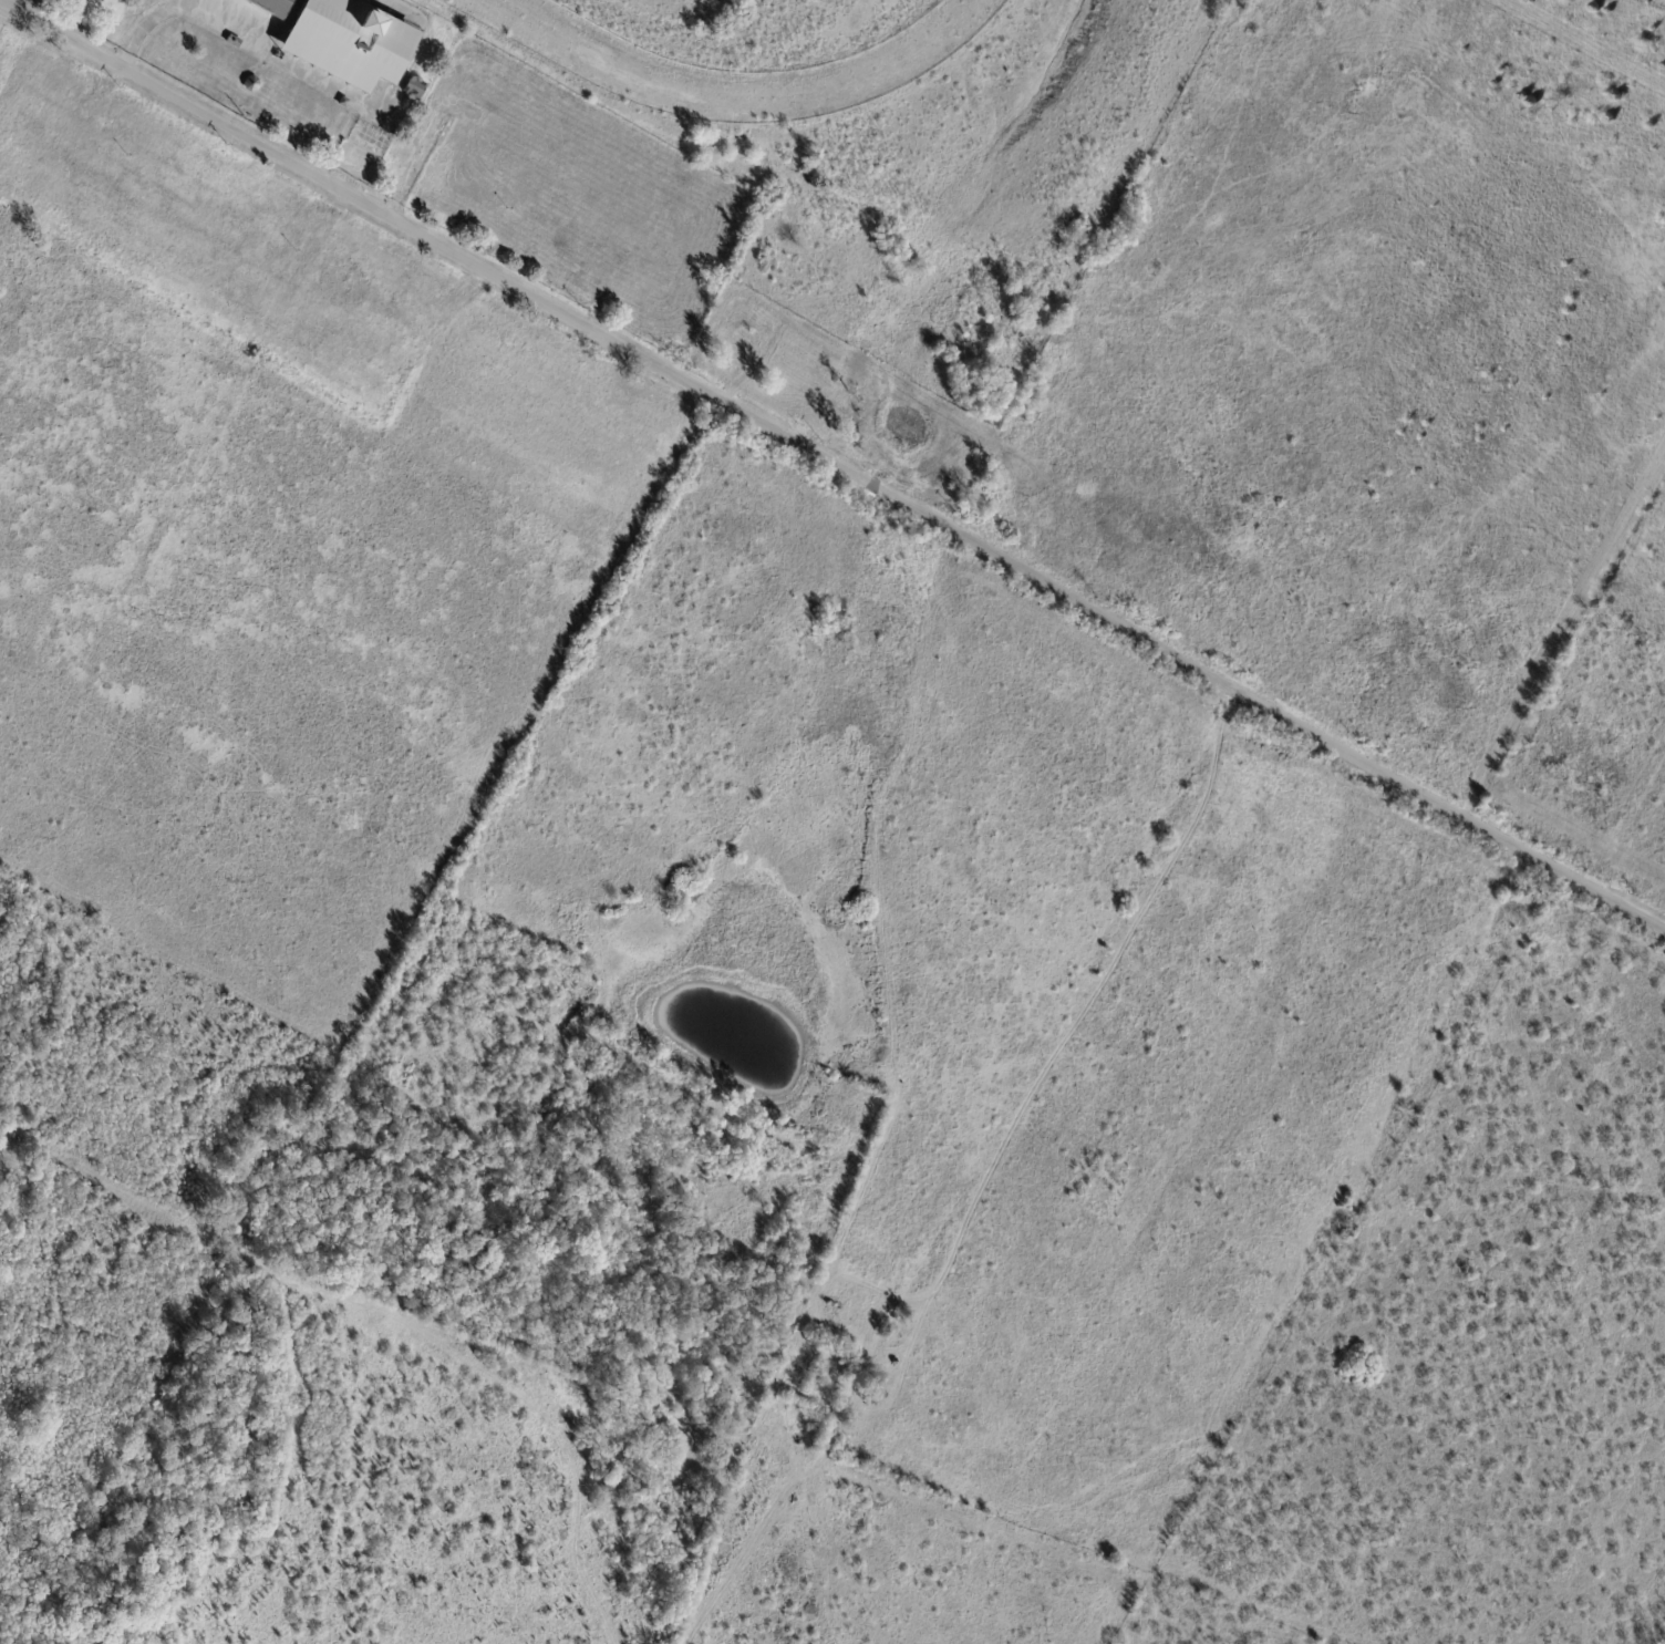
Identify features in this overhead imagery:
building: (276, 8)
building: (234, 42)
building: (352, 43)
building: (416, 89)
track: (744, 96)
building: (343, 104)
road: (832, 462)
building: (829, 1304)

